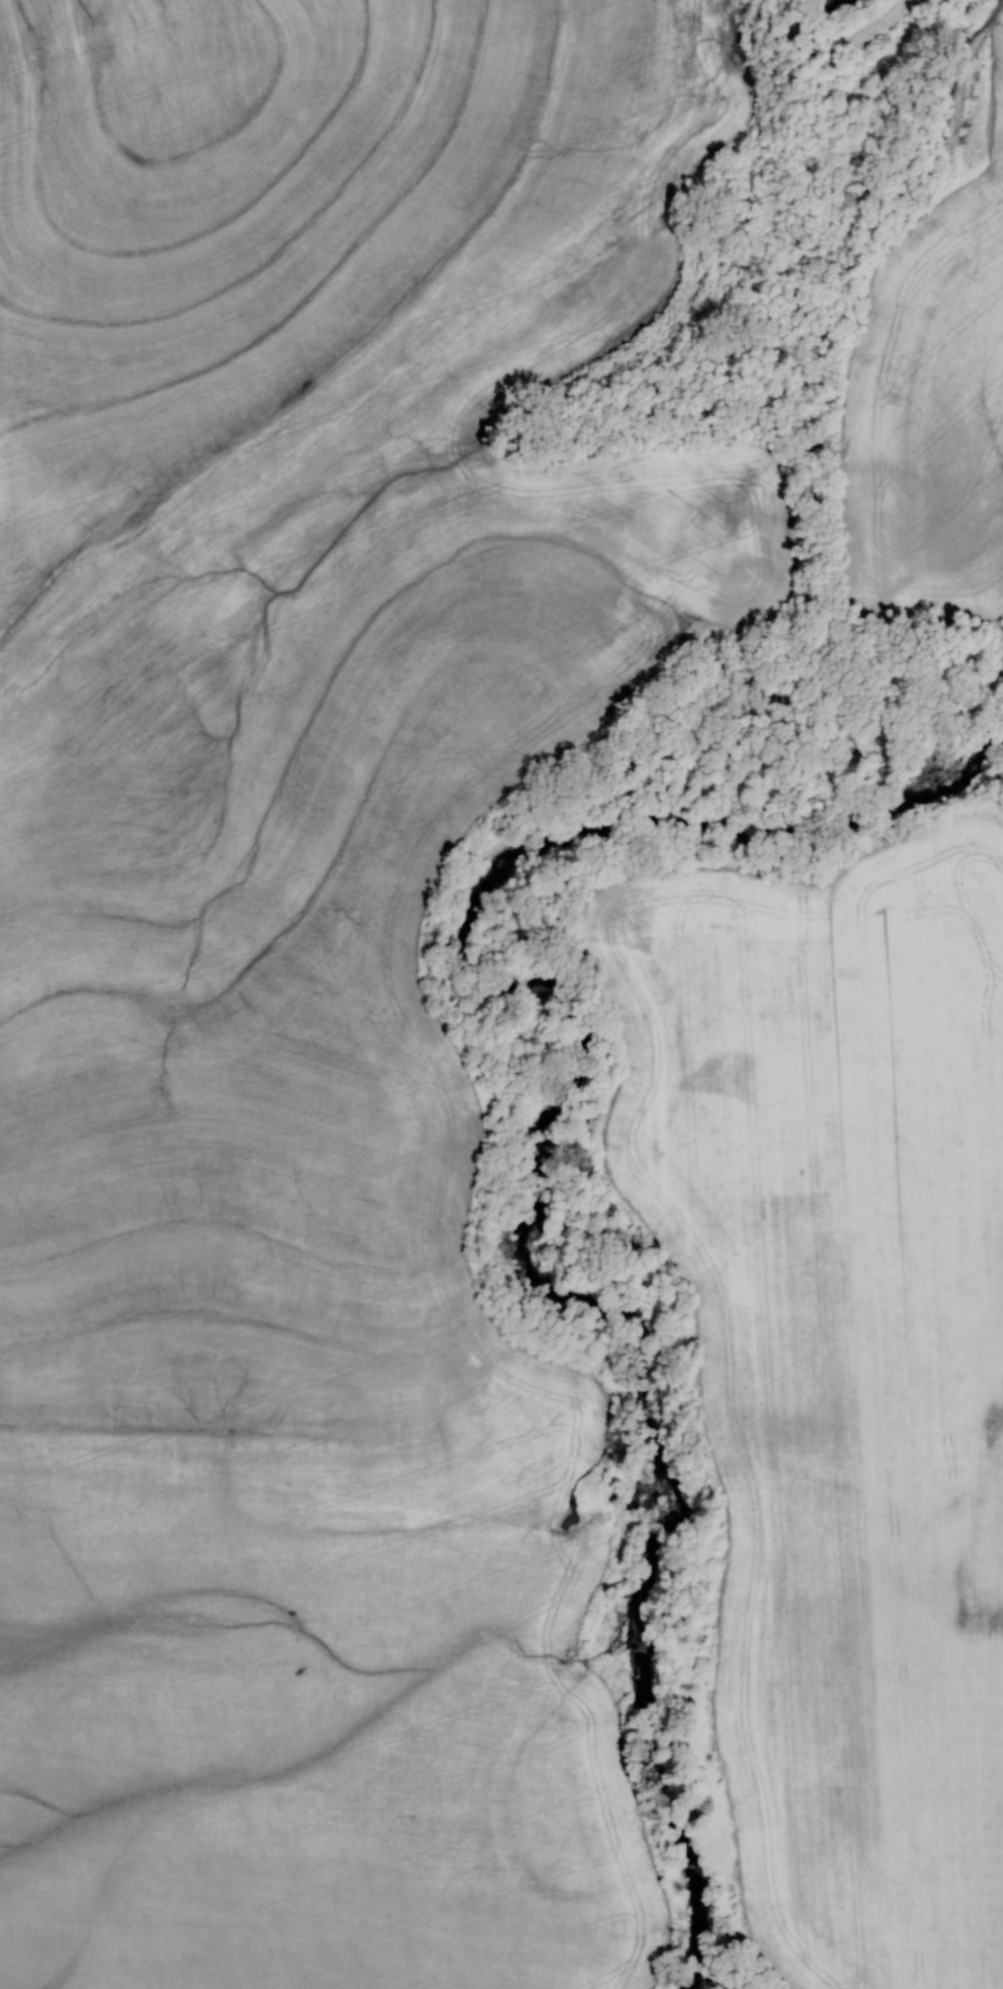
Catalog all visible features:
river: (543, 1154)

